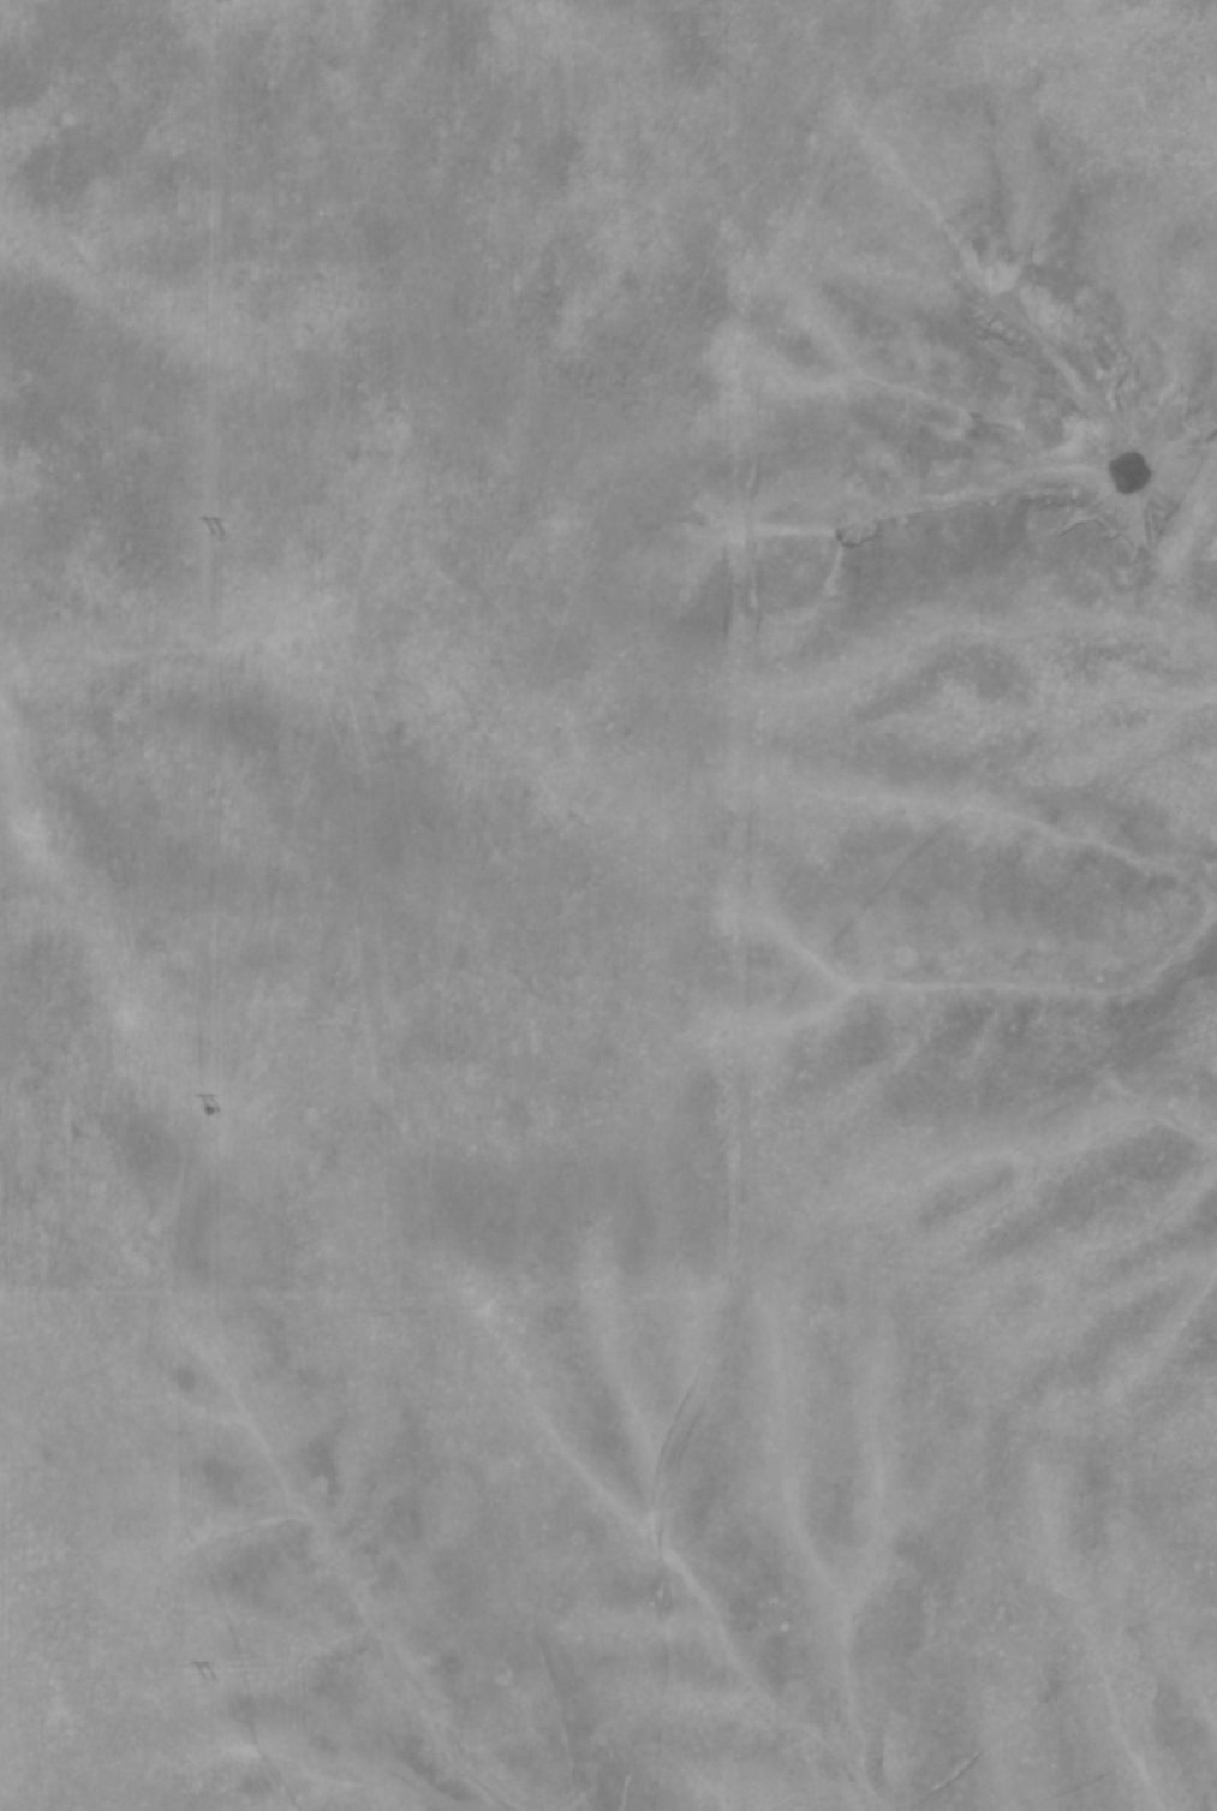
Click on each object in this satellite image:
power tower: (225, 1)
power tower: (219, 536)
power tower: (216, 1113)
power tower: (213, 1679)

